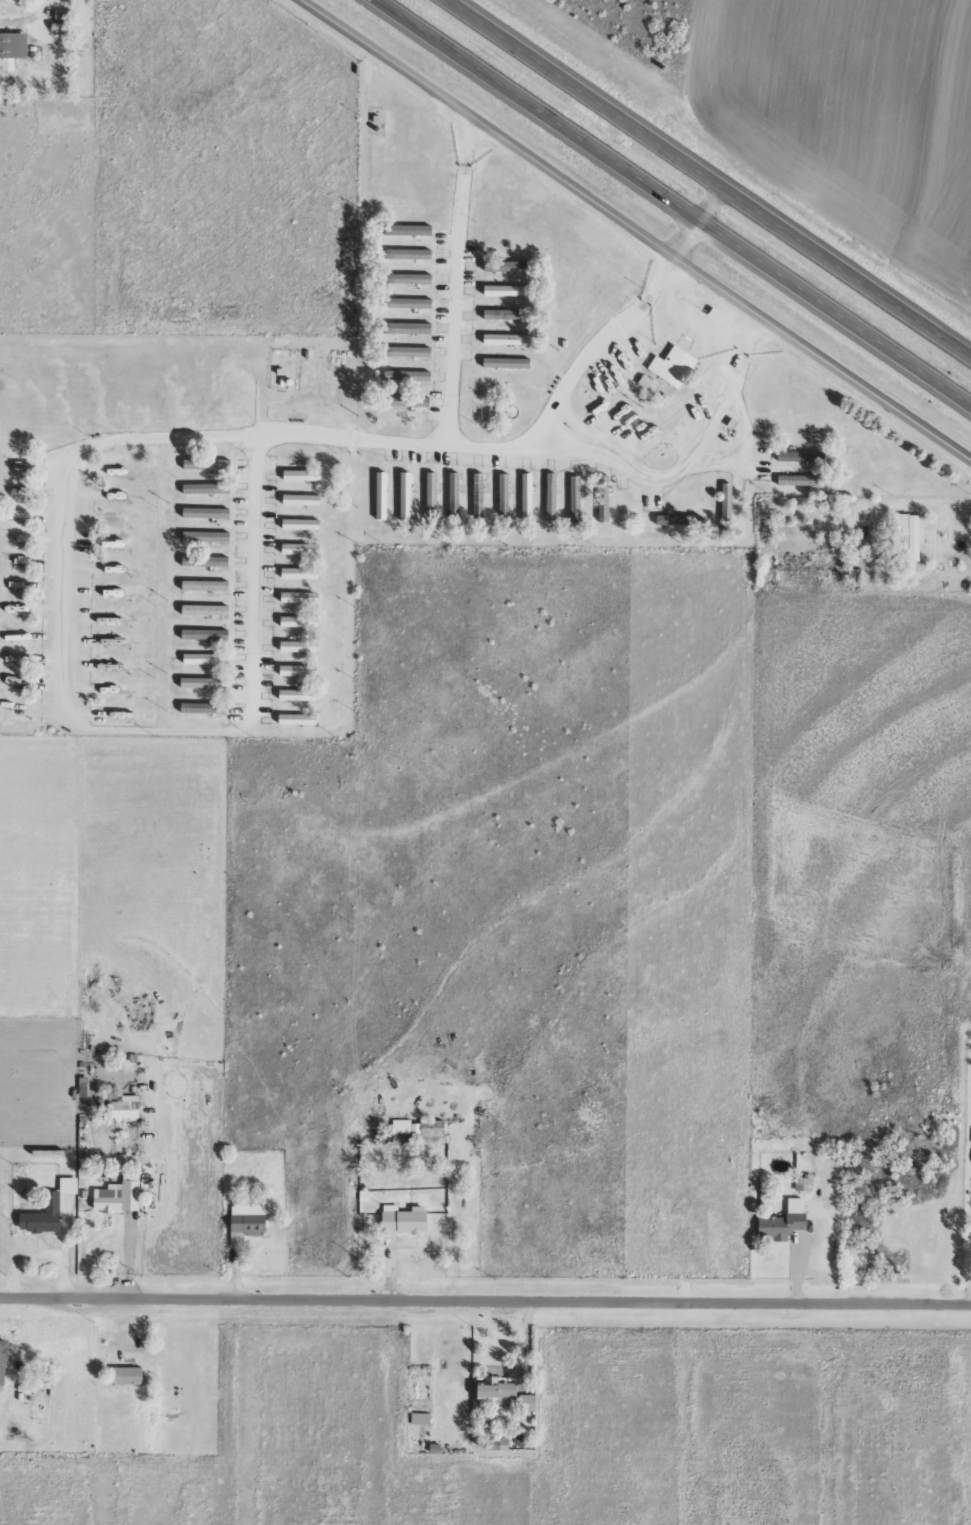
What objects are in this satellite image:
building: (3, 0)
building: (10, 0)
building: (11, 49)
road: (712, 176)
road: (678, 199)
road: (698, 218)
road: (640, 228)
building: (410, 229)
building: (409, 253)
building: (508, 265)
building: (409, 278)
road: (453, 278)
building: (507, 290)
building: (409, 302)
building: (501, 314)
building: (409, 327)
building: (500, 338)
road: (593, 347)
building: (409, 351)
building: (507, 362)
building: (674, 366)
building: (407, 375)
building: (646, 382)
road: (727, 388)
building: (407, 401)
road: (92, 442)
building: (801, 456)
building: (25, 464)
building: (208, 464)
building: (301, 475)
building: (479, 482)
building: (407, 486)
building: (576, 486)
building: (208, 488)
building: (433, 491)
building: (455, 491)
building: (505, 492)
building: (528, 492)
building: (605, 493)
building: (383, 495)
building: (552, 496)
building: (302, 499)
building: (207, 512)
building: (406, 516)
building: (678, 519)
building: (298, 524)
building: (906, 532)
building: (207, 536)
building: (301, 548)
building: (206, 561)
building: (301, 573)
building: (855, 577)
building: (206, 585)
building: (300, 597)
building: (206, 609)
building: (300, 621)
building: (206, 634)
building: (299, 646)
building: (206, 658)
building: (299, 669)
building: (205, 682)
building: (298, 694)
building: (205, 707)
building: (298, 718)
building: (125, 1105)
building: (408, 1127)
building: (434, 1131)
building: (69, 1185)
building: (120, 1195)
building: (44, 1216)
building: (405, 1219)
building: (785, 1221)
building: (247, 1223)
road: (485, 1300)
building: (3, 1360)
building: (128, 1374)
building: (499, 1389)
building: (528, 1401)
building: (421, 1417)

